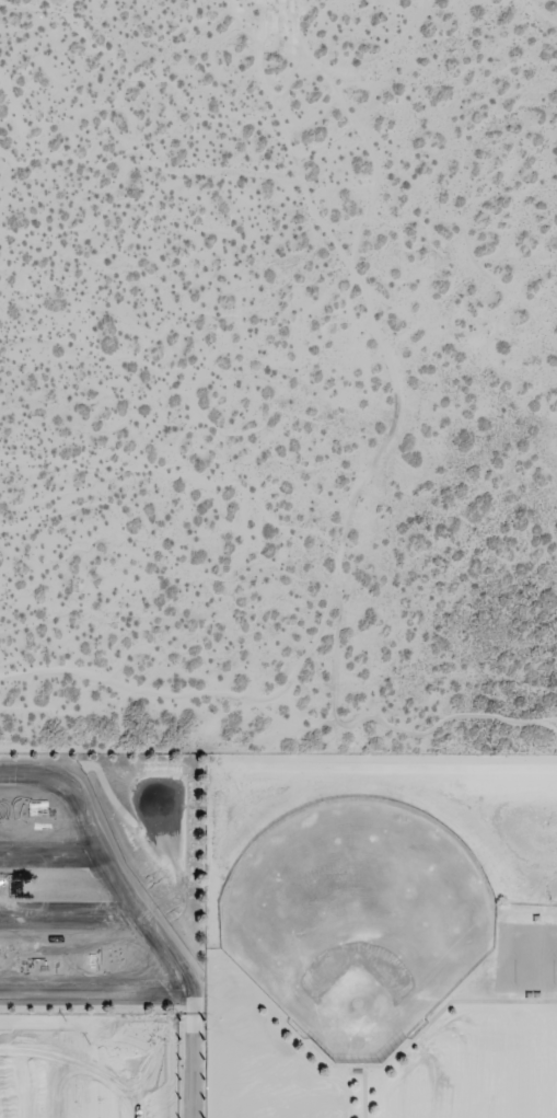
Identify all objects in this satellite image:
park: (356, 919)
park: (526, 953)

